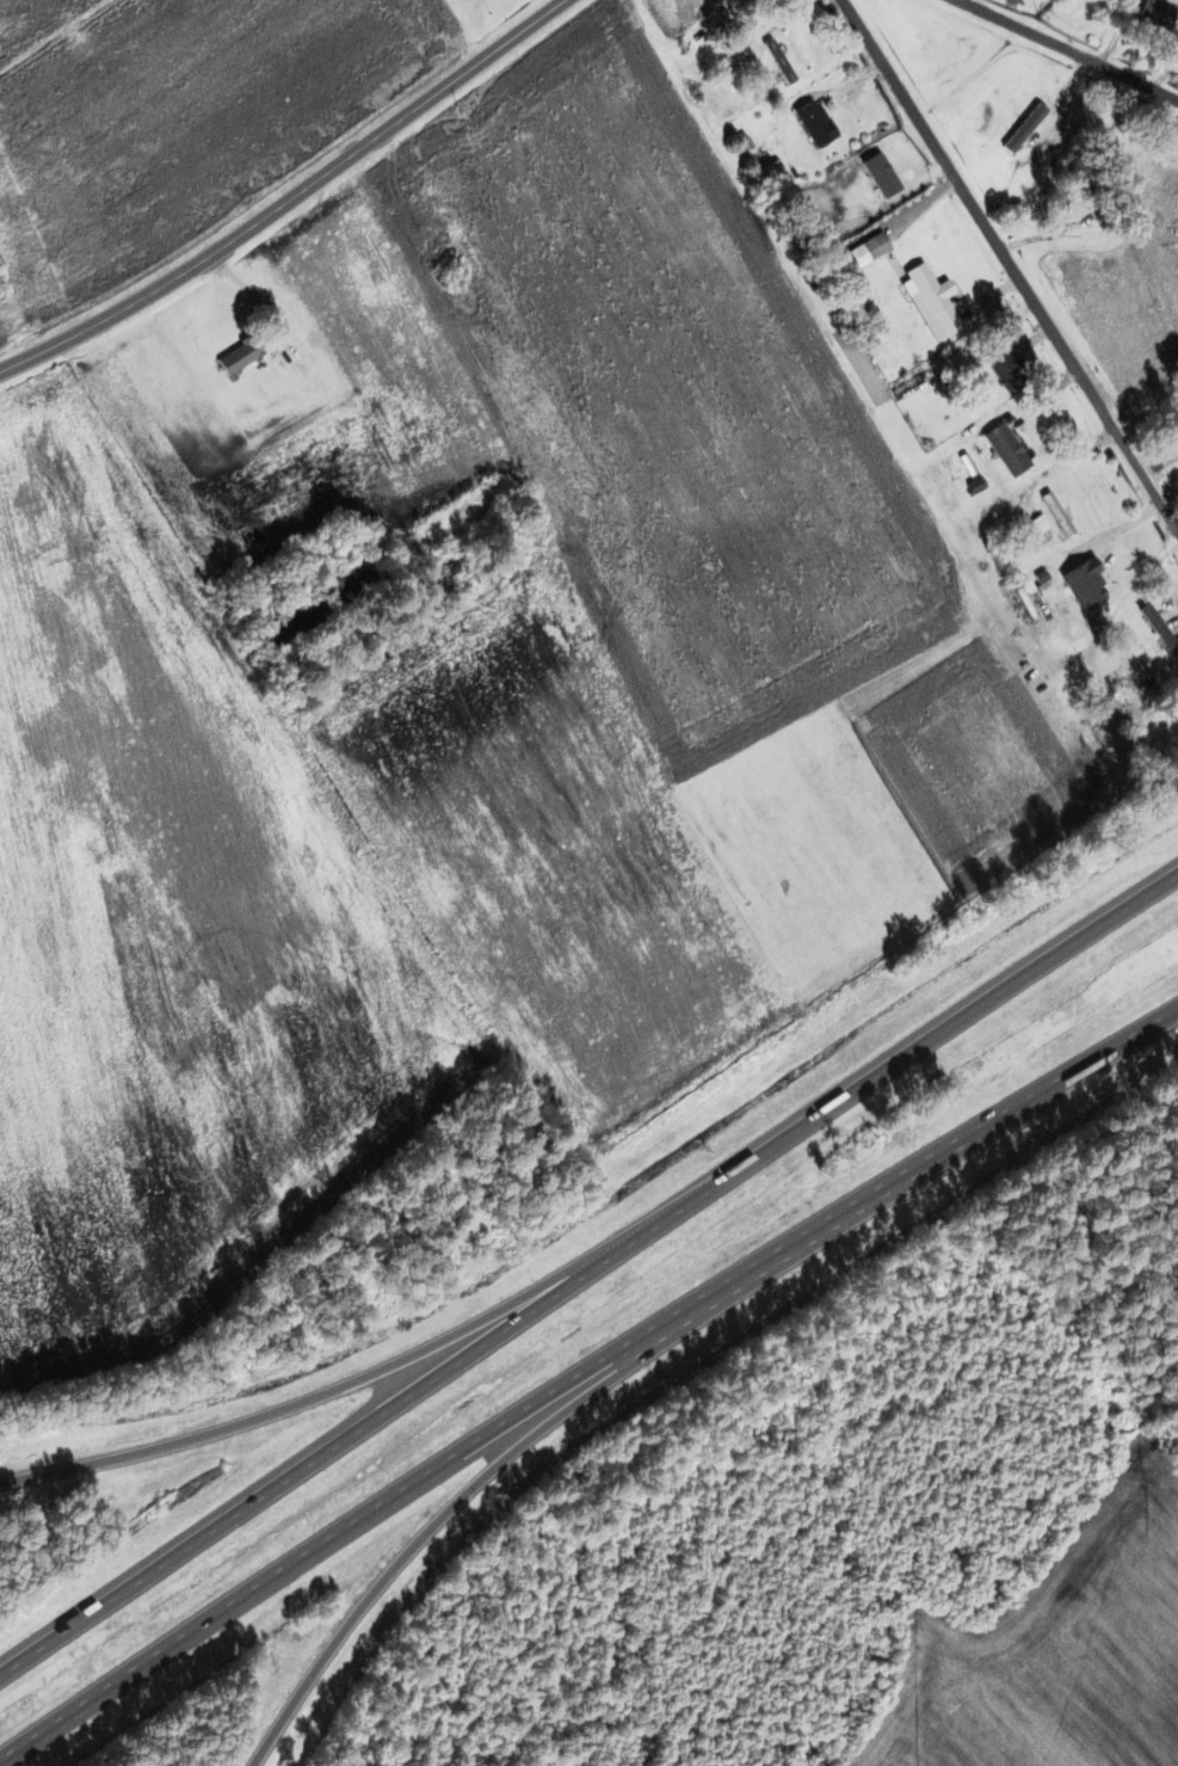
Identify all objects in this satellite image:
road: (1174, 1)
building: (1159, 11)
road: (1117, 39)
building: (779, 61)
building: (815, 123)
building: (1044, 127)
road: (1037, 152)
building: (883, 174)
road: (290, 198)
building: (1088, 202)
road: (1010, 204)
building: (876, 245)
building: (932, 299)
building: (241, 355)
building: (1009, 373)
building: (1007, 450)
building: (1059, 521)
building: (1096, 578)
building: (1159, 627)
road: (962, 1027)
road: (932, 1173)
road: (391, 1370)
road: (377, 1434)
road: (452, 1522)
road: (350, 1545)

